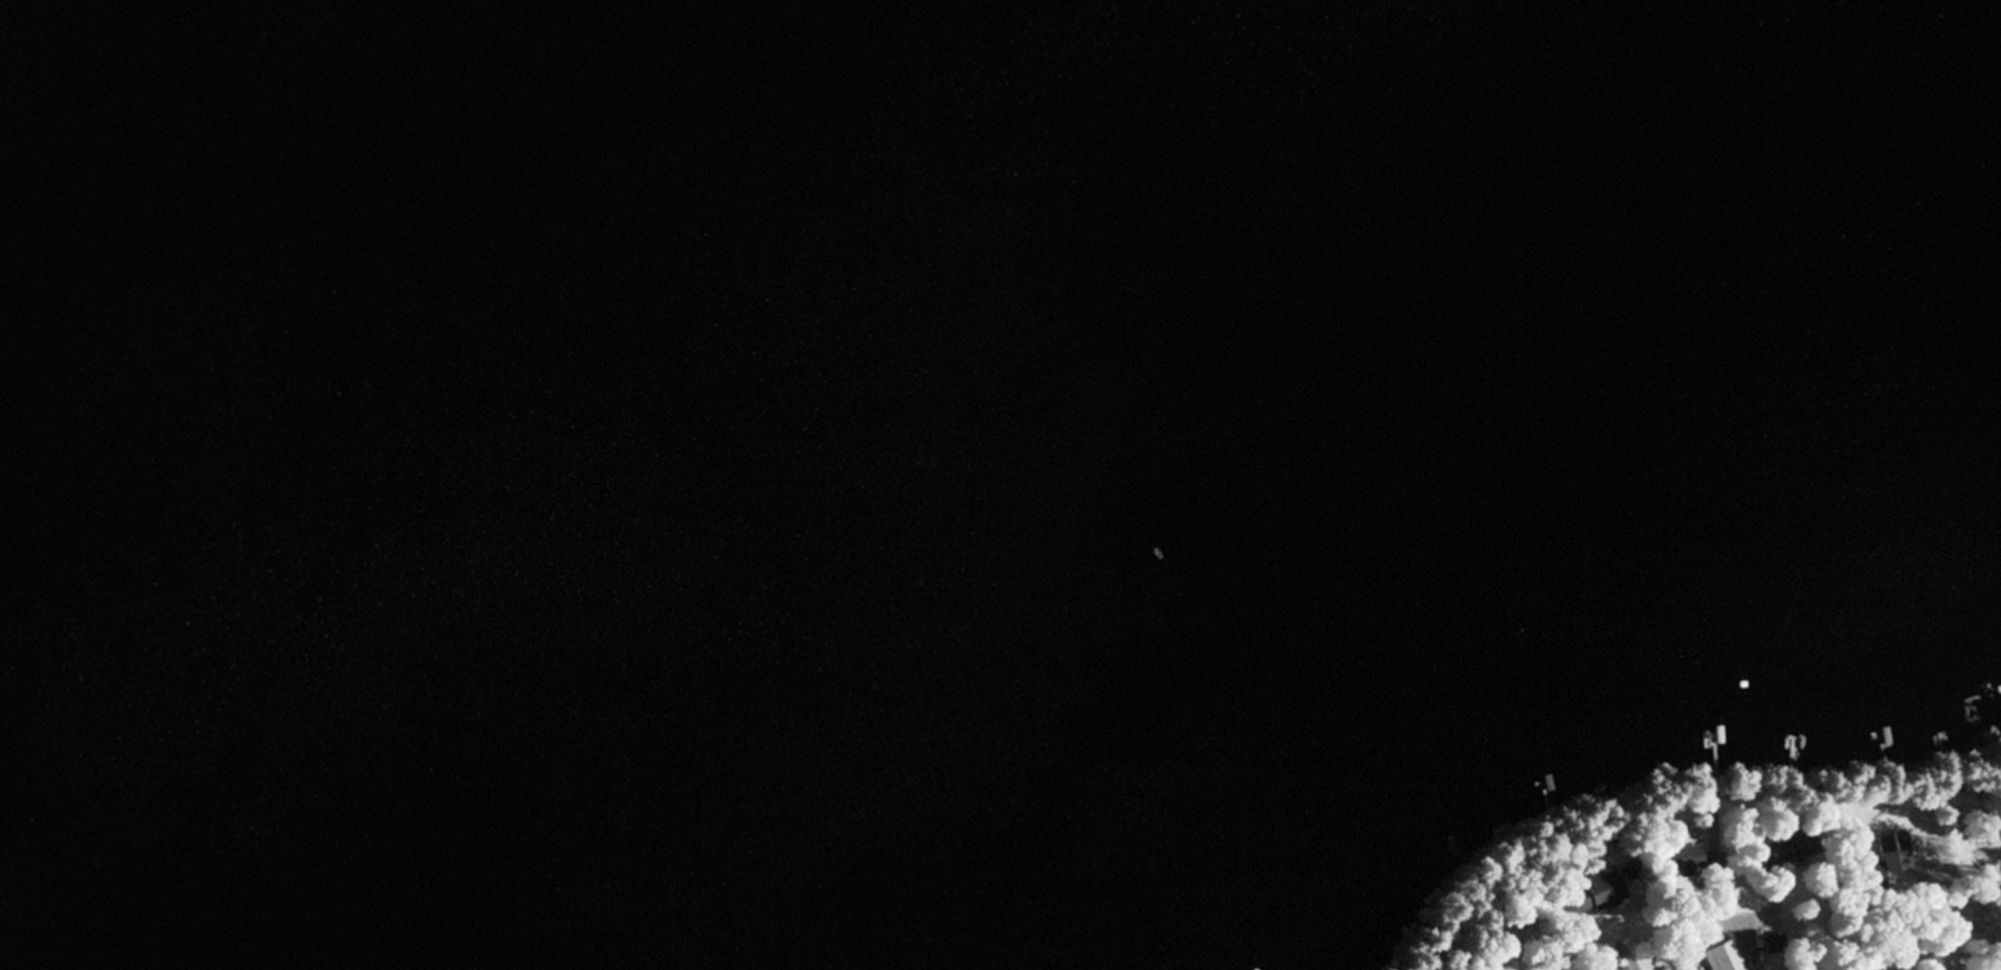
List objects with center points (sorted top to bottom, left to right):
building: (1783, 850)
building: (1889, 853)
building: (1678, 858)
building: (1712, 867)
building: (1588, 894)
road: (1791, 907)
building: (1734, 958)
building: (1620, 969)

